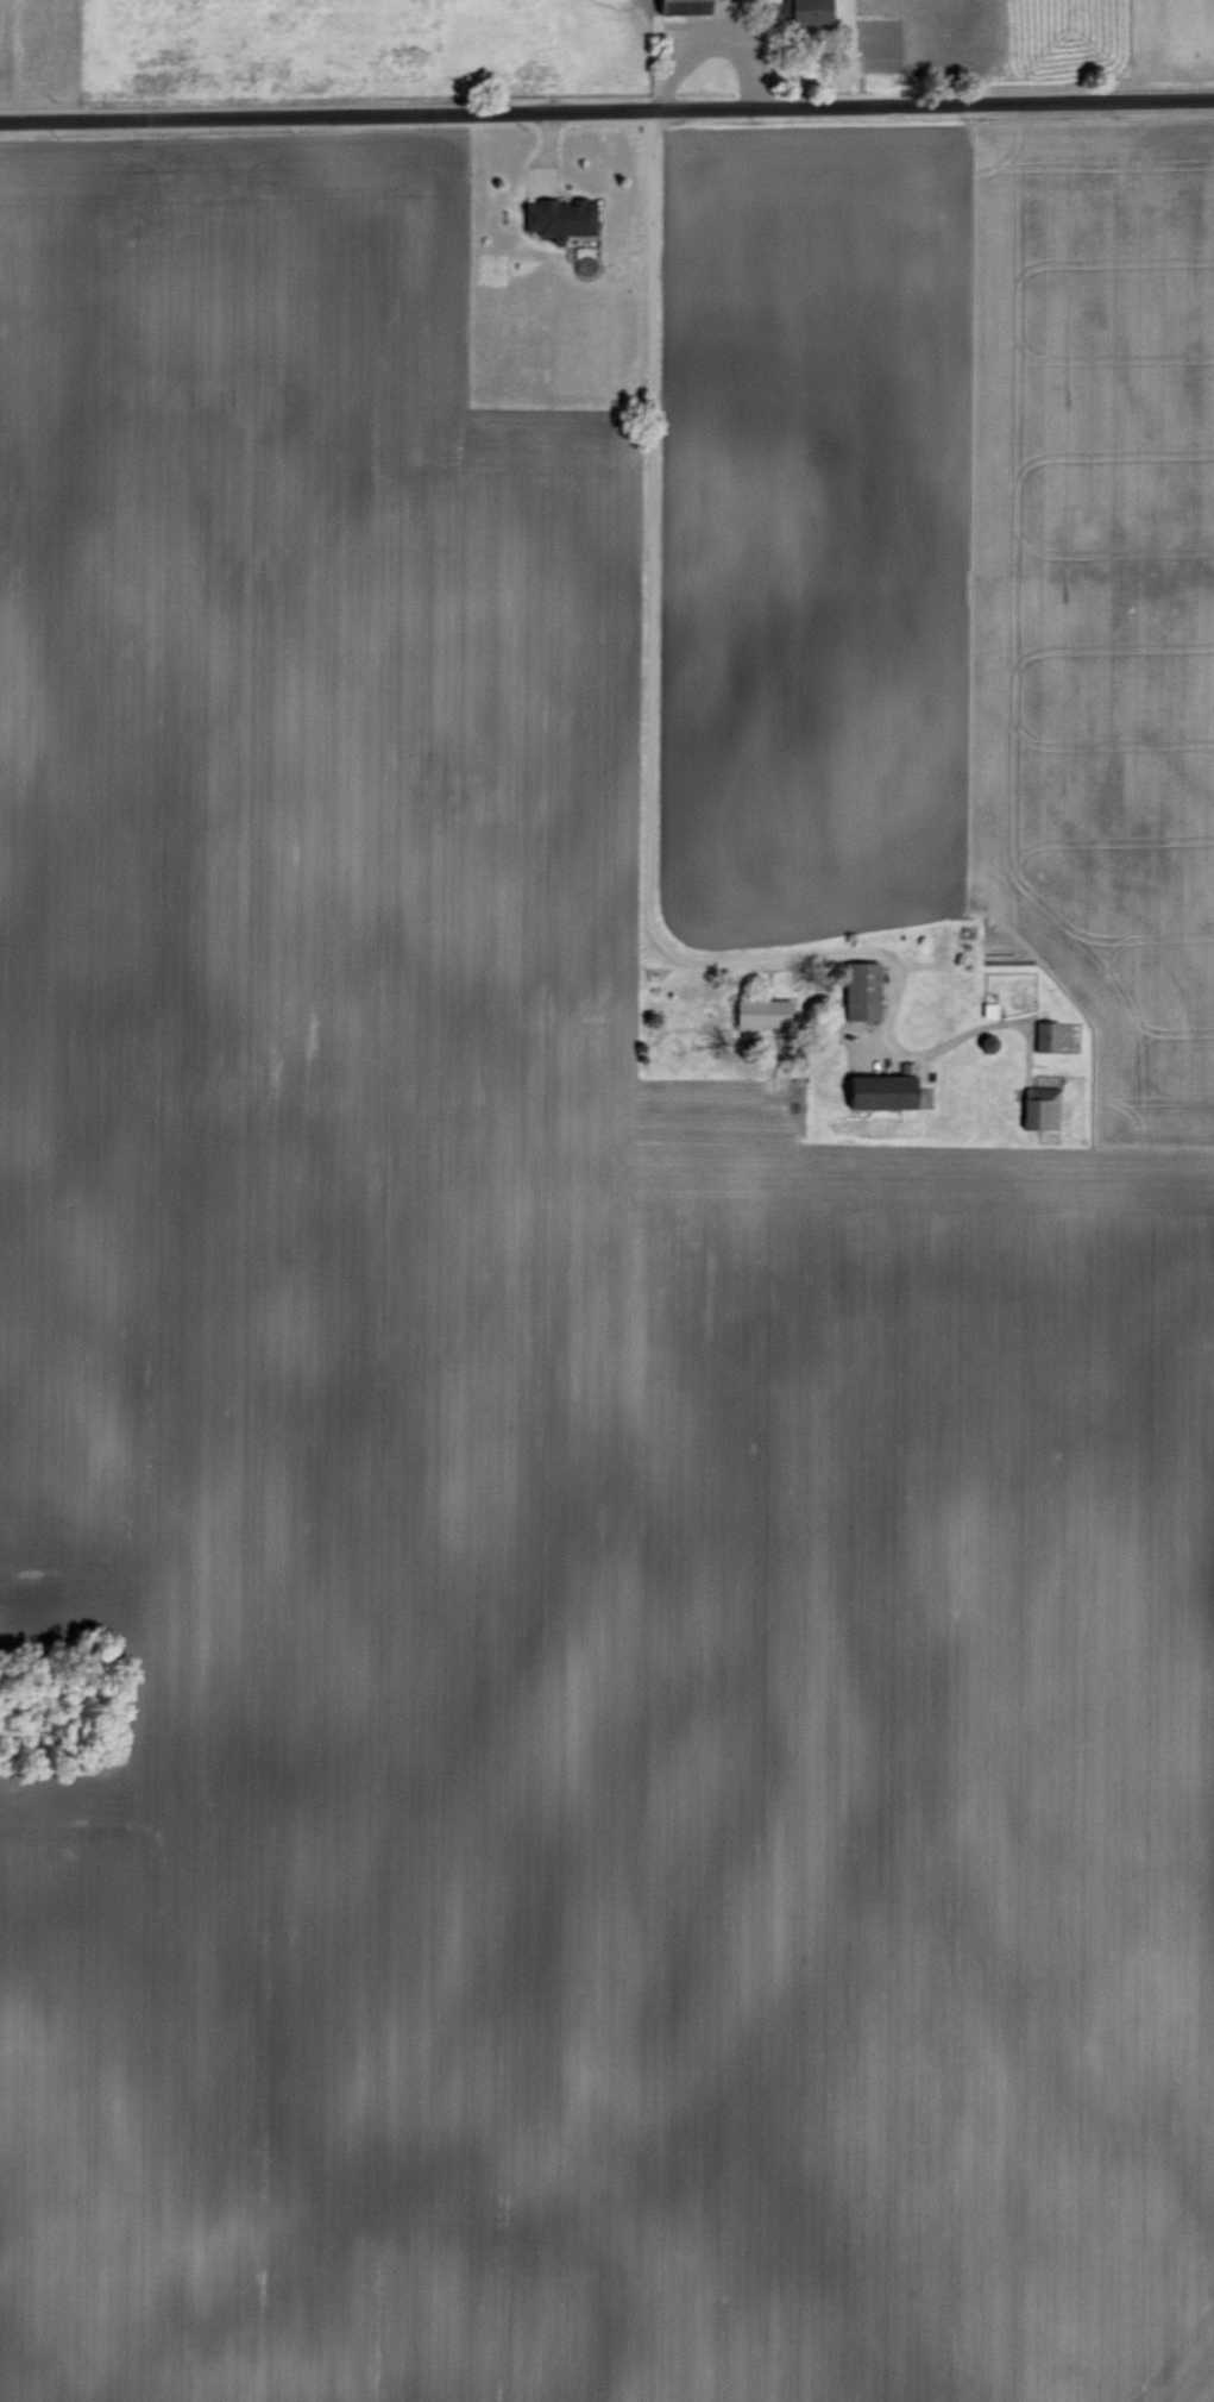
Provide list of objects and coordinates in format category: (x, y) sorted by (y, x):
building: (679, 6)
building: (807, 13)
road: (606, 111)
building: (559, 217)
road: (646, 709)
building: (858, 989)
building: (986, 1008)
building: (760, 1011)
building: (1044, 1035)
building: (881, 1089)
building: (1038, 1106)
crop: (611, 1346)

